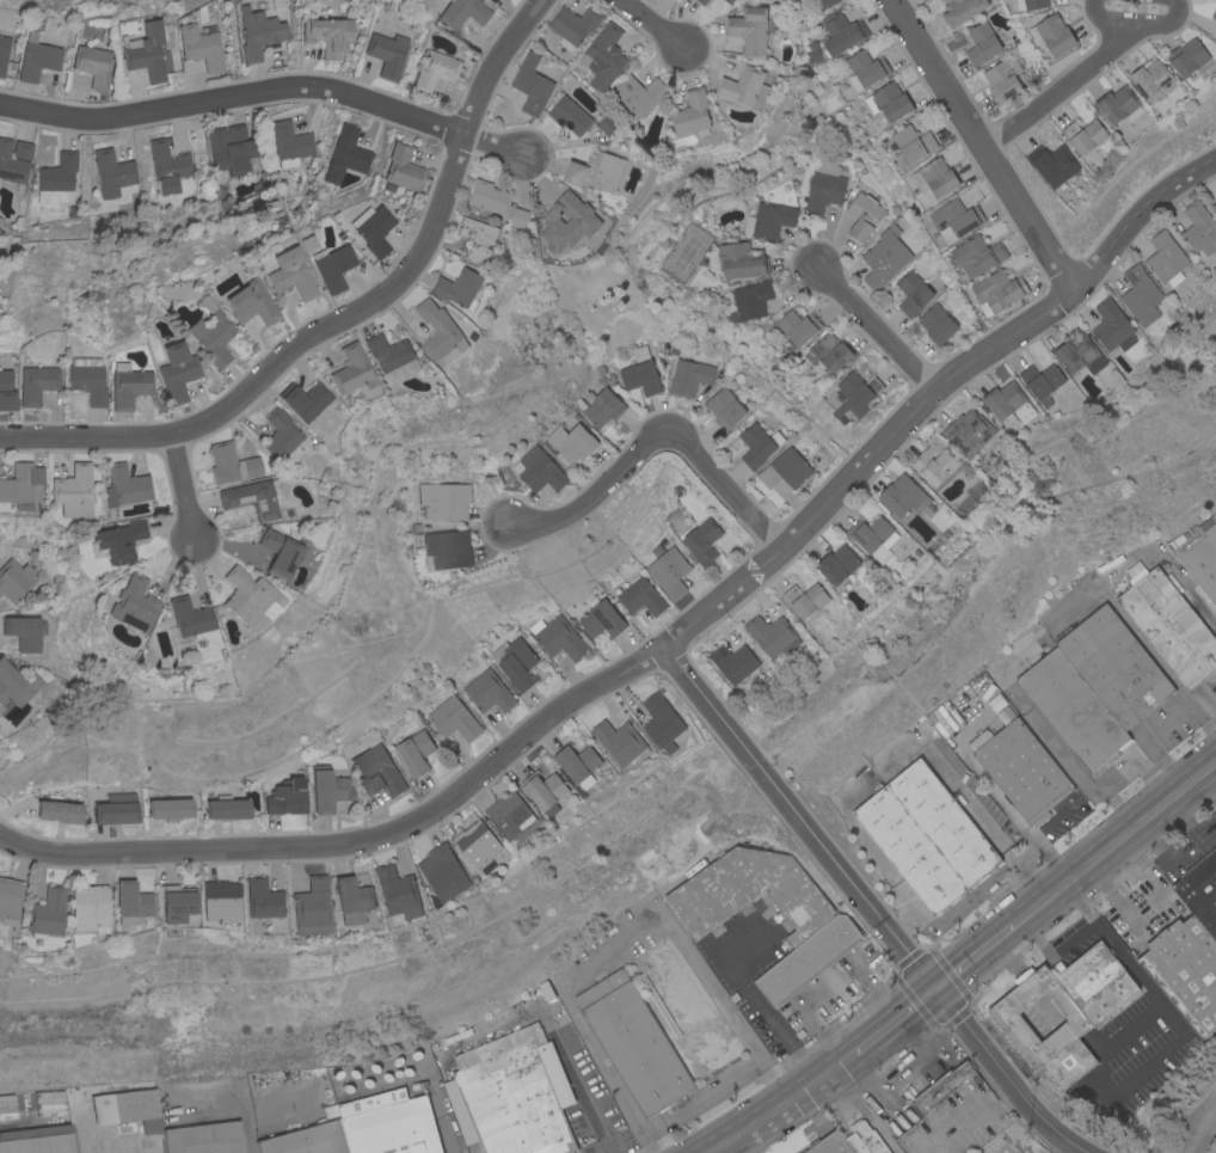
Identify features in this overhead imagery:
park: (411, 1)
building: (701, 1)
building: (729, 1)
building: (823, 2)
building: (1030, 4)
building: (960, 10)
building: (462, 12)
building: (1214, 13)
road: (1104, 16)
road: (1160, 23)
building: (573, 24)
road: (652, 24)
building: (749, 29)
building: (258, 31)
building: (841, 31)
building: (1052, 33)
building: (327, 35)
building: (981, 42)
building: (201, 45)
building: (4, 51)
building: (147, 51)
building: (812, 51)
building: (387, 53)
building: (603, 56)
building: (1186, 56)
building: (37, 60)
road: (493, 62)
building: (92, 65)
building: (865, 68)
building: (435, 69)
building: (1002, 78)
building: (1153, 80)
building: (530, 84)
building: (744, 87)
road: (1060, 88)
building: (638, 94)
road: (234, 96)
building: (889, 100)
building: (1118, 104)
building: (693, 112)
building: (570, 115)
building: (607, 123)
building: (1083, 134)
building: (289, 143)
road: (495, 143)
building: (911, 145)
road: (982, 145)
building: (227, 148)
building: (345, 154)
building: (14, 160)
building: (1052, 162)
building: (167, 166)
building: (401, 168)
building: (595, 170)
building: (112, 172)
building: (935, 176)
building: (57, 178)
building: (823, 188)
building: (487, 196)
building: (864, 215)
road: (1136, 215)
building: (517, 216)
building: (566, 216)
building: (768, 219)
building: (954, 219)
building: (1198, 226)
building: (371, 228)
building: (478, 238)
building: (306, 241)
building: (976, 253)
building: (884, 257)
building: (1166, 258)
building: (741, 259)
building: (332, 265)
building: (289, 272)
building: (459, 287)
building: (996, 290)
building: (911, 292)
building: (1140, 294)
building: (750, 300)
building: (248, 301)
building: (936, 323)
building: (798, 326)
building: (1111, 326)
road: (876, 329)
building: (438, 330)
building: (210, 332)
building: (829, 351)
building: (1079, 354)
building: (392, 356)
road: (280, 360)
building: (351, 368)
building: (177, 370)
building: (640, 372)
building: (688, 375)
building: (87, 379)
building: (1040, 381)
building: (36, 382)
building: (128, 384)
building: (6, 391)
building: (856, 392)
building: (303, 399)
building: (1007, 401)
building: (598, 405)
building: (724, 407)
building: (968, 430)
building: (280, 434)
road: (655, 440)
building: (571, 441)
building: (756, 443)
building: (231, 462)
road: (864, 465)
building: (933, 465)
building: (540, 468)
building: (784, 468)
building: (20, 484)
building: (124, 485)
road: (185, 487)
building: (73, 491)
building: (902, 495)
building: (253, 497)
building: (446, 499)
building: (868, 532)
building: (701, 539)
building: (118, 540)
building: (447, 548)
building: (278, 553)
building: (1198, 553)
building: (837, 563)
building: (668, 571)
building: (16, 578)
building: (247, 596)
building: (640, 596)
building: (804, 599)
building: (131, 603)
road: (1203, 613)
building: (189, 615)
building: (601, 619)
building: (1168, 625)
building: (24, 631)
building: (772, 634)
building: (557, 637)
building: (515, 662)
building: (732, 662)
building: (1113, 666)
building: (17, 685)
building: (489, 693)
building: (1071, 707)
building: (455, 719)
building: (662, 723)
building: (621, 743)
building: (417, 754)
building: (578, 765)
building: (1020, 769)
building: (377, 773)
building: (330, 791)
building: (546, 791)
building: (289, 798)
building: (172, 809)
building: (229, 809)
building: (118, 810)
building: (61, 812)
building: (511, 816)
road: (1150, 816)
building: (942, 823)
road: (358, 842)
building: (478, 844)
building: (908, 851)
building: (444, 873)
road: (1076, 877)
building: (1200, 890)
building: (399, 893)
building: (749, 893)
road: (1160, 893)
building: (265, 900)
building: (354, 901)
road: (1077, 901)
building: (11, 902)
building: (223, 902)
building: (179, 903)
road: (1044, 903)
road: (1114, 903)
building: (134, 904)
road: (866, 906)
building: (313, 908)
building: (93, 909)
building: (50, 914)
road: (1017, 925)
road: (1054, 944)
road: (610, 946)
building: (807, 959)
road: (972, 959)
building: (1185, 970)
road: (1134, 975)
building: (1094, 982)
traffic signals: (934, 991)
road: (755, 996)
building: (659, 1006)
road: (553, 1028)
building: (1068, 1031)
road: (876, 1036)
building: (634, 1043)
road: (770, 1083)
road: (802, 1092)
building: (512, 1097)
road: (699, 1098)
road: (231, 1105)
building: (130, 1109)
building: (953, 1115)
road: (760, 1121)
building: (367, 1129)
building: (205, 1139)
building: (864, 1139)
building: (38, 1140)
road: (646, 1143)
building: (829, 1145)
road: (721, 1146)
road: (600, 1148)
road: (613, 1148)
building: (0, 1149)

